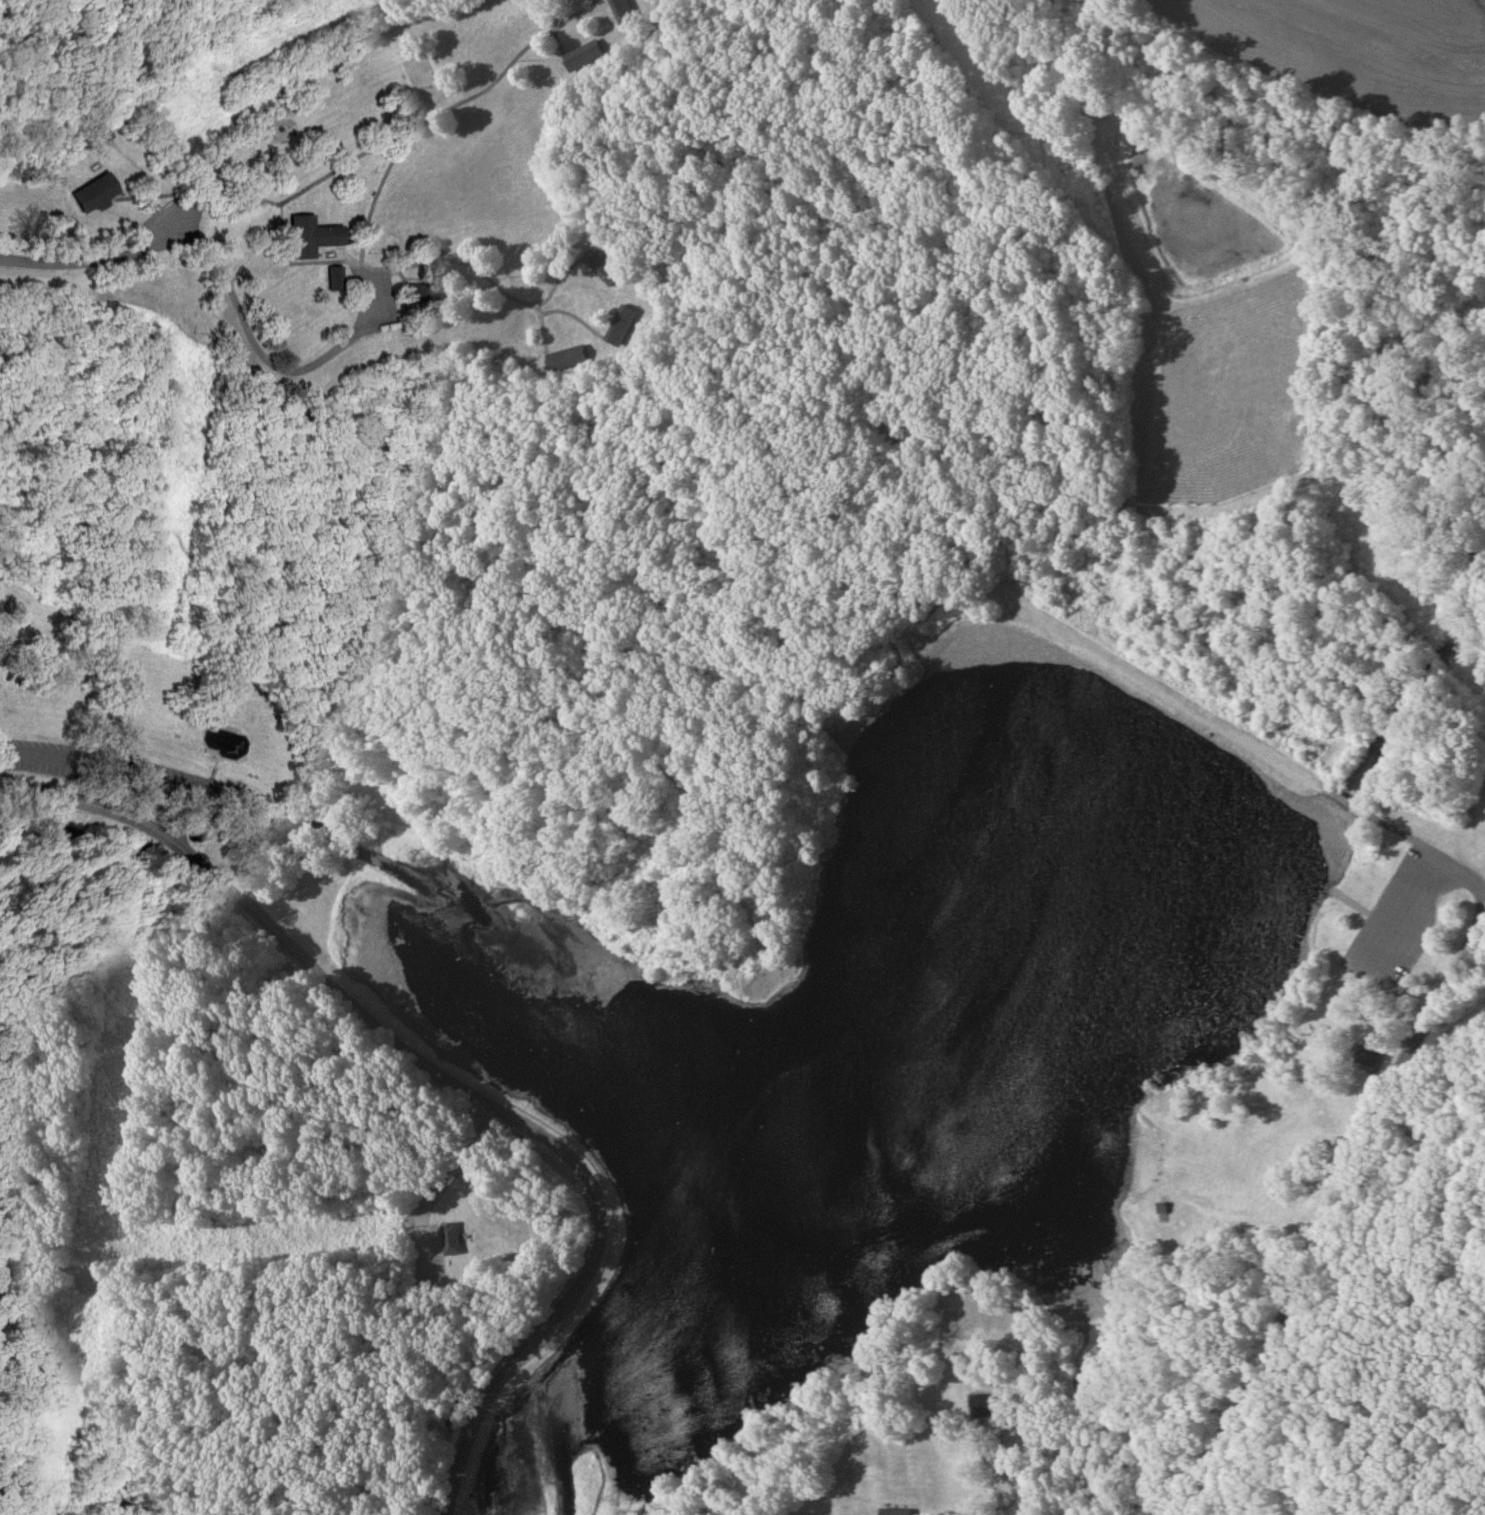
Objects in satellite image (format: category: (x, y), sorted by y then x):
building: (627, 13)
crop: (1343, 52)
building: (588, 56)
road: (384, 142)
building: (96, 191)
building: (312, 236)
road: (99, 258)
building: (609, 266)
building: (336, 277)
building: (432, 293)
road: (233, 302)
building: (632, 323)
road: (336, 350)
building: (577, 357)
road: (684, 645)
road: (1169, 683)
road: (3, 725)
park: (742, 757)
road: (113, 775)
parking lot: (118, 776)
road: (1405, 835)
parking lot: (1411, 924)
road: (1404, 939)
road: (1453, 1036)
road: (448, 1086)
road: (440, 1185)
road: (1333, 1201)
road: (1308, 1309)
road: (1002, 1443)
road: (1007, 1457)
road: (1017, 1486)
road: (921, 1507)
building: (895, 1511)

